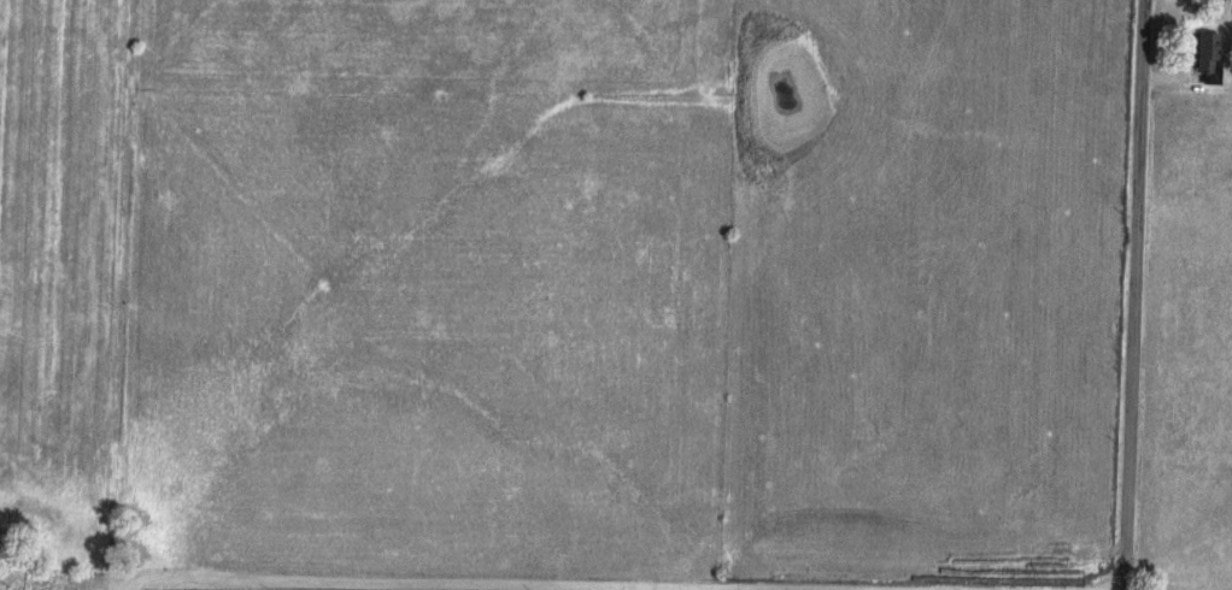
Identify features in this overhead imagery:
building: (1203, 52)
road: (1137, 295)
road: (628, 586)

